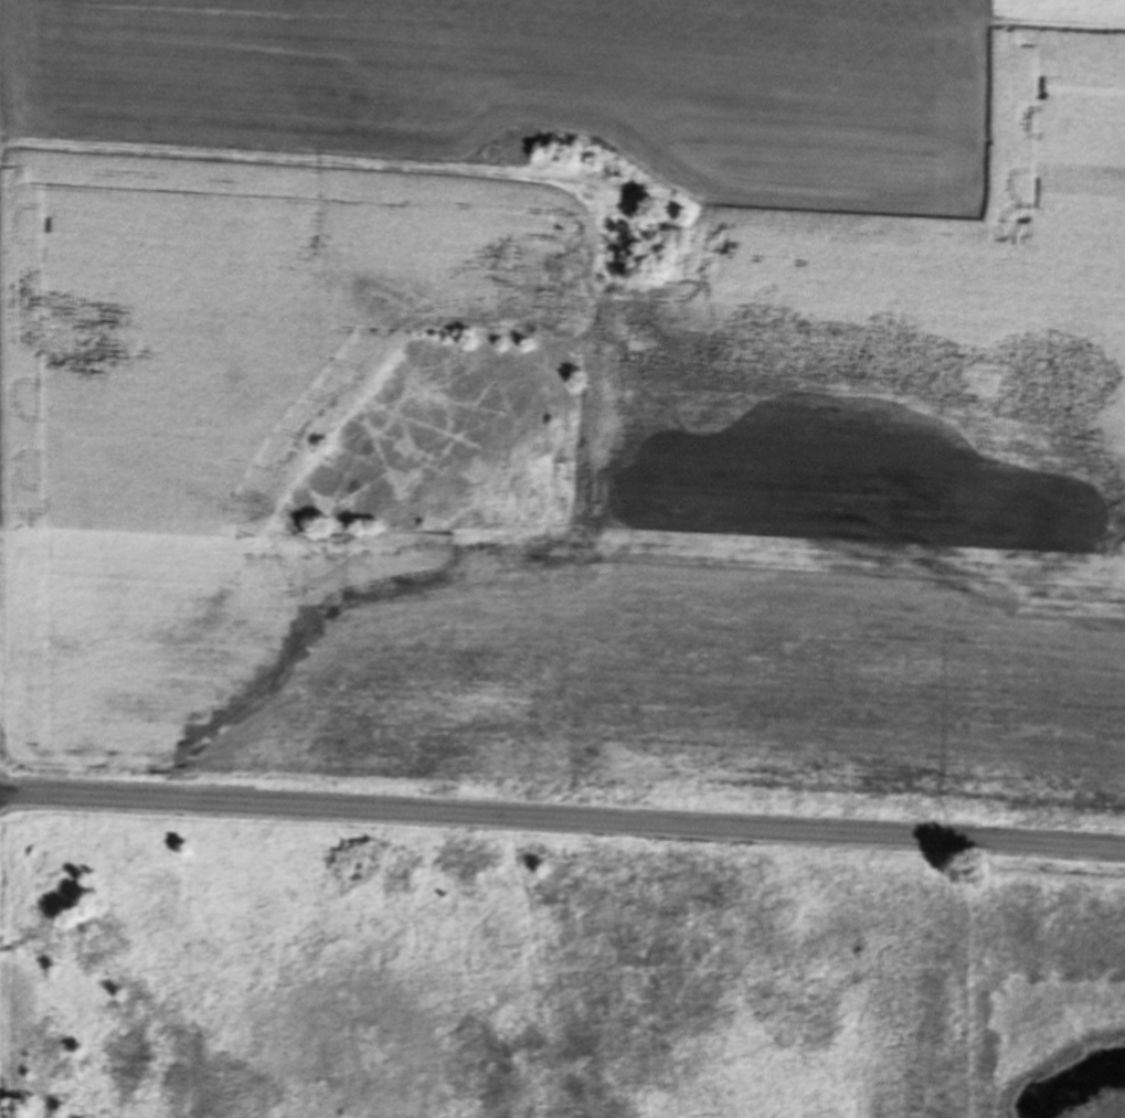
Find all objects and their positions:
road: (562, 820)

